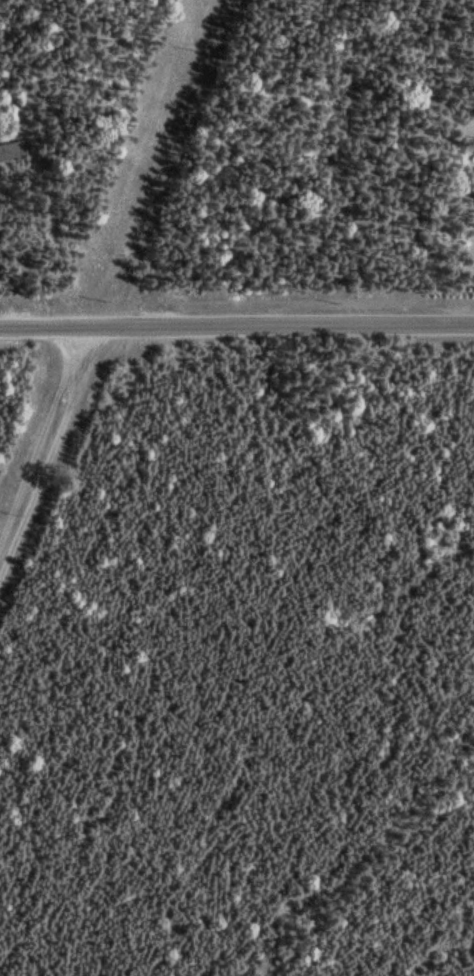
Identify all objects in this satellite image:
building: (11, 152)
road: (163, 164)
road: (285, 327)
road: (48, 329)
road: (48, 449)

